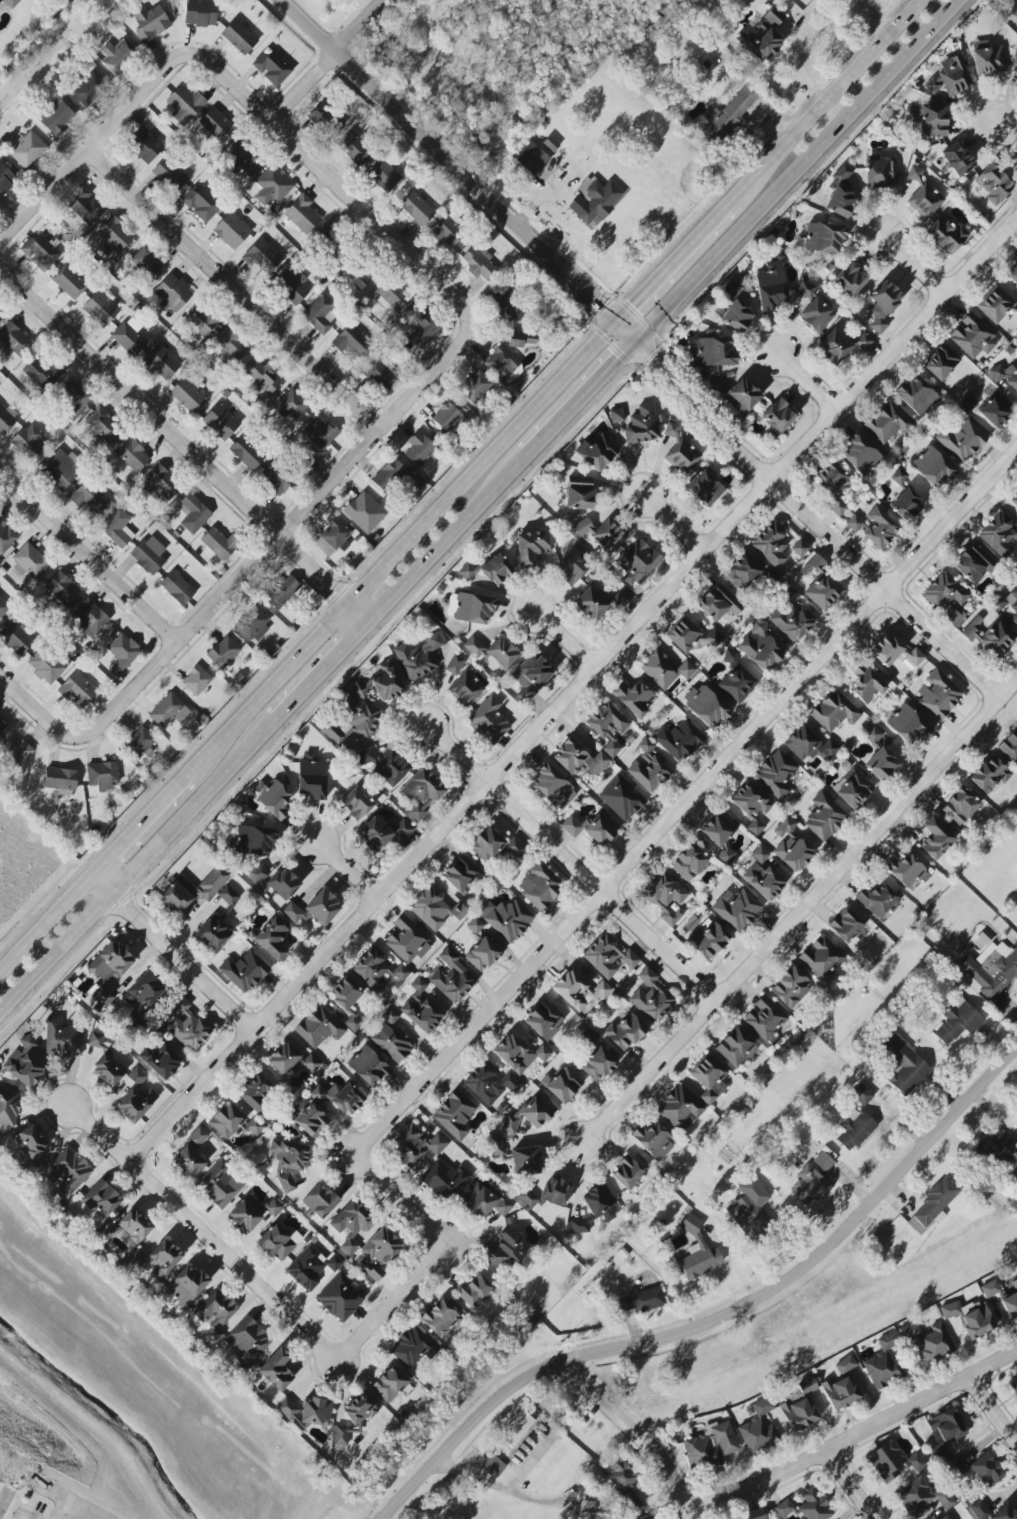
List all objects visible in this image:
building: (10, 3)
building: (200, 12)
road: (875, 18)
building: (149, 22)
building: (238, 36)
building: (762, 38)
building: (116, 55)
road: (332, 60)
building: (988, 60)
building: (1014, 61)
building: (271, 68)
building: (948, 78)
building: (1015, 86)
building: (87, 88)
building: (184, 104)
road: (826, 104)
building: (733, 110)
building: (322, 117)
building: (56, 118)
building: (929, 120)
road: (967, 122)
building: (216, 125)
road: (1006, 130)
road: (97, 140)
building: (144, 144)
building: (354, 149)
building: (27, 150)
building: (531, 157)
building: (956, 159)
building: (243, 160)
road: (800, 172)
building: (914, 172)
building: (880, 173)
building: (169, 175)
building: (384, 175)
building: (5, 178)
building: (994, 181)
building: (272, 185)
road: (343, 187)
building: (840, 194)
building: (594, 199)
building: (924, 200)
building: (200, 204)
building: (85, 205)
building: (416, 208)
building: (302, 214)
building: (231, 230)
building: (446, 231)
building: (945, 234)
building: (113, 235)
building: (823, 237)
building: (40, 252)
building: (262, 256)
building: (146, 261)
building: (479, 263)
road: (917, 265)
road: (671, 266)
building: (1013, 274)
building: (363, 277)
building: (848, 279)
building: (69, 281)
building: (770, 286)
building: (291, 287)
road: (236, 288)
building: (806, 288)
building: (172, 293)
building: (392, 296)
building: (882, 304)
building: (994, 304)
building: (504, 306)
building: (100, 308)
building: (1015, 309)
building: (320, 314)
building: (737, 314)
building: (816, 314)
building: (0, 317)
building: (201, 320)
traffic signals: (615, 325)
building: (421, 328)
building: (129, 336)
building: (972, 336)
building: (14, 339)
building: (521, 339)
building: (351, 341)
building: (862, 342)
traffic signals: (635, 344)
building: (833, 346)
building: (230, 348)
road: (639, 348)
building: (710, 351)
building: (940, 361)
building: (160, 363)
building: (503, 365)
building: (41, 373)
building: (379, 373)
building: (262, 376)
road: (427, 378)
building: (1006, 379)
road: (804, 382)
building: (475, 386)
building: (187, 395)
building: (915, 395)
building: (742, 396)
building: (74, 399)
road: (580, 402)
building: (967, 403)
building: (291, 404)
road: (814, 408)
building: (995, 409)
building: (616, 415)
building: (777, 416)
building: (7, 418)
building: (445, 419)
building: (220, 422)
building: (887, 422)
building: (102, 425)
building: (641, 425)
building: (671, 429)
building: (318, 434)
building: (962, 440)
building: (29, 443)
road: (185, 446)
building: (418, 448)
building: (599, 452)
building: (246, 453)
building: (131, 454)
building: (860, 454)
building: (682, 456)
building: (933, 467)
building: (60, 469)
road: (793, 472)
building: (899, 474)
building: (388, 475)
building: (276, 479)
building: (161, 484)
building: (832, 486)
building: (704, 487)
building: (578, 492)
building: (89, 497)
building: (1014, 500)
road: (760, 504)
building: (905, 505)
building: (364, 512)
building: (192, 513)
road: (671, 523)
building: (854, 523)
building: (117, 528)
building: (879, 528)
building: (602, 534)
building: (6, 535)
building: (999, 535)
building: (332, 538)
road: (448, 542)
building: (217, 544)
building: (771, 544)
building: (531, 547)
building: (799, 548)
road: (398, 550)
building: (148, 555)
road: (90, 557)
building: (30, 560)
building: (636, 561)
building: (973, 563)
building: (812, 565)
building: (570, 568)
building: (488, 569)
building: (742, 572)
road: (907, 581)
building: (61, 587)
building: (176, 588)
road: (227, 591)
building: (823, 591)
building: (281, 592)
building: (947, 597)
building: (621, 598)
building: (592, 602)
building: (718, 602)
building: (1010, 603)
building: (469, 607)
building: (3, 608)
building: (89, 617)
building: (791, 621)
building: (251, 623)
road: (565, 635)
building: (989, 635)
building: (689, 636)
building: (15, 637)
road: (604, 638)
building: (759, 647)
building: (493, 650)
building: (885, 650)
building: (224, 652)
building: (121, 653)
building: (418, 656)
building: (914, 657)
building: (47, 663)
building: (454, 664)
building: (663, 669)
road: (324, 673)
building: (531, 676)
building: (737, 678)
building: (196, 680)
building: (386, 682)
building: (865, 684)
building: (359, 688)
building: (465, 688)
building: (76, 689)
road: (571, 690)
building: (939, 695)
building: (634, 697)
road: (30, 704)
building: (705, 705)
building: (168, 711)
building: (834, 711)
building: (353, 720)
building: (488, 720)
building: (907, 724)
building: (2, 726)
building: (608, 726)
building: (679, 739)
building: (139, 743)
building: (809, 743)
building: (1009, 745)
building: (15, 751)
building: (879, 754)
building: (364, 757)
building: (578, 759)
building: (391, 768)
building: (648, 768)
building: (775, 774)
building: (988, 774)
building: (101, 775)
building: (311, 778)
building: (60, 779)
building: (552, 787)
building: (852, 788)
building: (421, 792)
building: (271, 797)
building: (621, 798)
road: (682, 802)
building: (356, 803)
building: (748, 806)
building: (959, 806)
building: (824, 816)
building: (571, 826)
building: (600, 828)
building: (718, 828)
road: (137, 829)
building: (374, 833)
building: (935, 838)
building: (254, 840)
building: (486, 845)
building: (790, 846)
building: (515, 848)
building: (726, 855)
road: (568, 860)
building: (689, 862)
building: (1016, 867)
road: (140, 868)
road: (348, 869)
building: (906, 871)
building: (461, 874)
building: (762, 875)
building: (274, 879)
road: (624, 884)
building: (539, 886)
building: (192, 889)
building: (228, 896)
building: (665, 897)
building: (876, 899)
building: (322, 907)
road: (800, 908)
building: (736, 909)
building: (292, 912)
building: (505, 918)
building: (475, 925)
building: (844, 925)
road: (45, 928)
building: (213, 931)
building: (271, 939)
building: (707, 939)
building: (406, 940)
building: (481, 954)
road: (169, 955)
building: (608, 956)
building: (821, 957)
building: (108, 970)
building: (376, 970)
building: (991, 970)
building: (244, 971)
building: (646, 976)
building: (451, 977)
building: (789, 986)
building: (577, 990)
building: (142, 992)
building: (345, 993)
building: (651, 1003)
building: (420, 1008)
building: (389, 1016)
building: (765, 1018)
building: (544, 1019)
building: (957, 1021)
building: (353, 1022)
building: (187, 1026)
building: (319, 1027)
building: (624, 1031)
building: (589, 1035)
building: (61, 1038)
building: (28, 1042)
building: (391, 1042)
building: (735, 1048)
building: (518, 1054)
building: (290, 1059)
building: (160, 1061)
building: (105, 1062)
building: (597, 1064)
building: (903, 1064)
building: (368, 1066)
building: (22, 1067)
building: (136, 1076)
building: (708, 1078)
building: (489, 1083)
building: (563, 1084)
building: (255, 1092)
building: (317, 1093)
building: (861, 1094)
building: (347, 1099)
building: (135, 1103)
building: (8, 1105)
building: (680, 1108)
road: (409, 1112)
building: (530, 1113)
building: (454, 1114)
building: (310, 1120)
building: (233, 1122)
building: (854, 1128)
building: (196, 1137)
building: (653, 1140)
building: (414, 1145)
building: (29, 1146)
building: (997, 1147)
building: (187, 1161)
building: (524, 1161)
building: (823, 1161)
building: (287, 1163)
building: (67, 1171)
building: (627, 1172)
building: (444, 1179)
building: (220, 1184)
building: (808, 1184)
building: (546, 1193)
building: (102, 1199)
building: (319, 1200)
building: (486, 1201)
building: (599, 1202)
building: (935, 1202)
road: (400, 1204)
building: (273, 1206)
building: (751, 1210)
building: (246, 1212)
building: (350, 1224)
building: (577, 1227)
building: (126, 1228)
road: (201, 1233)
building: (277, 1241)
road: (237, 1248)
building: (505, 1250)
building: (697, 1251)
building: (378, 1253)
building: (155, 1259)
building: (310, 1267)
building: (184, 1285)
building: (474, 1291)
building: (1002, 1296)
building: (339, 1297)
building: (643, 1299)
road: (394, 1303)
building: (215, 1314)
building: (970, 1317)
building: (440, 1319)
road: (718, 1320)
building: (909, 1331)
building: (247, 1341)
building: (935, 1343)
building: (411, 1346)
building: (882, 1363)
building: (845, 1364)
building: (275, 1369)
building: (389, 1383)
building: (1013, 1384)
building: (839, 1392)
building: (799, 1412)
road: (994, 1412)
building: (305, 1413)
building: (352, 1419)
building: (758, 1427)
building: (514, 1429)
building: (944, 1431)
road: (642, 1432)
road: (856, 1435)
building: (710, 1446)
building: (893, 1461)
building: (490, 1465)
building: (985, 1471)
building: (618, 1474)
road: (853, 1484)
building: (921, 1497)
building: (629, 1500)
building: (806, 1506)
building: (586, 1509)
building: (979, 1509)
road: (83, 1511)
building: (1004, 1513)
building: (756, 1514)
building: (945, 1517)
building: (654, 1518)

